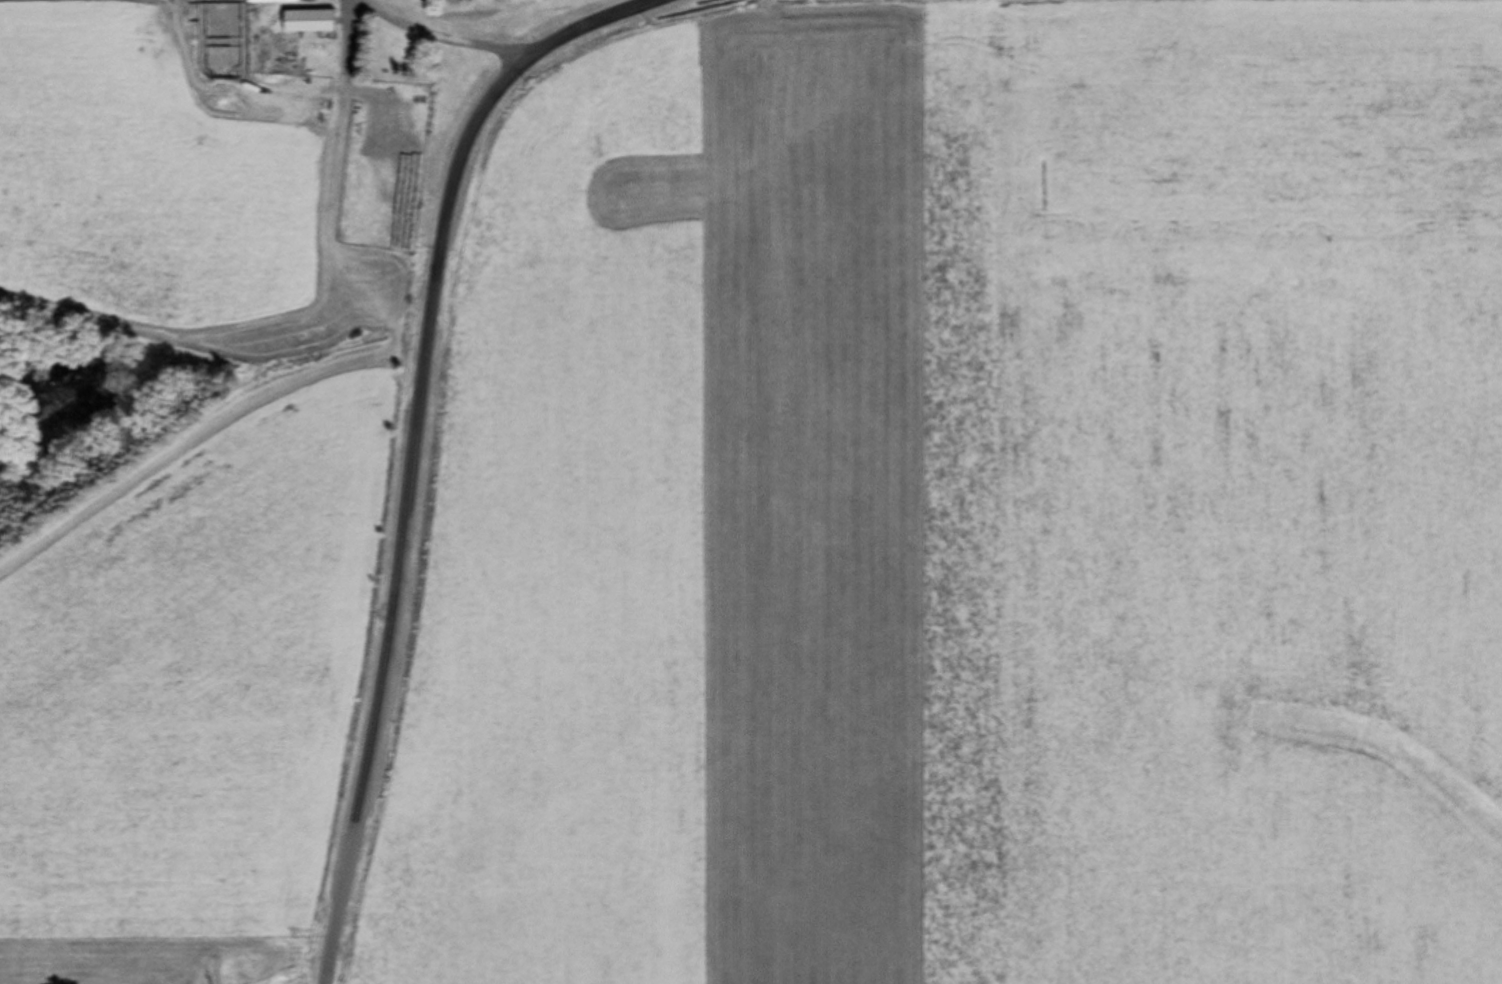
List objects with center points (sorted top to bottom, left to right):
building: (271, 2)
building: (308, 23)
road: (436, 38)
road: (415, 439)

